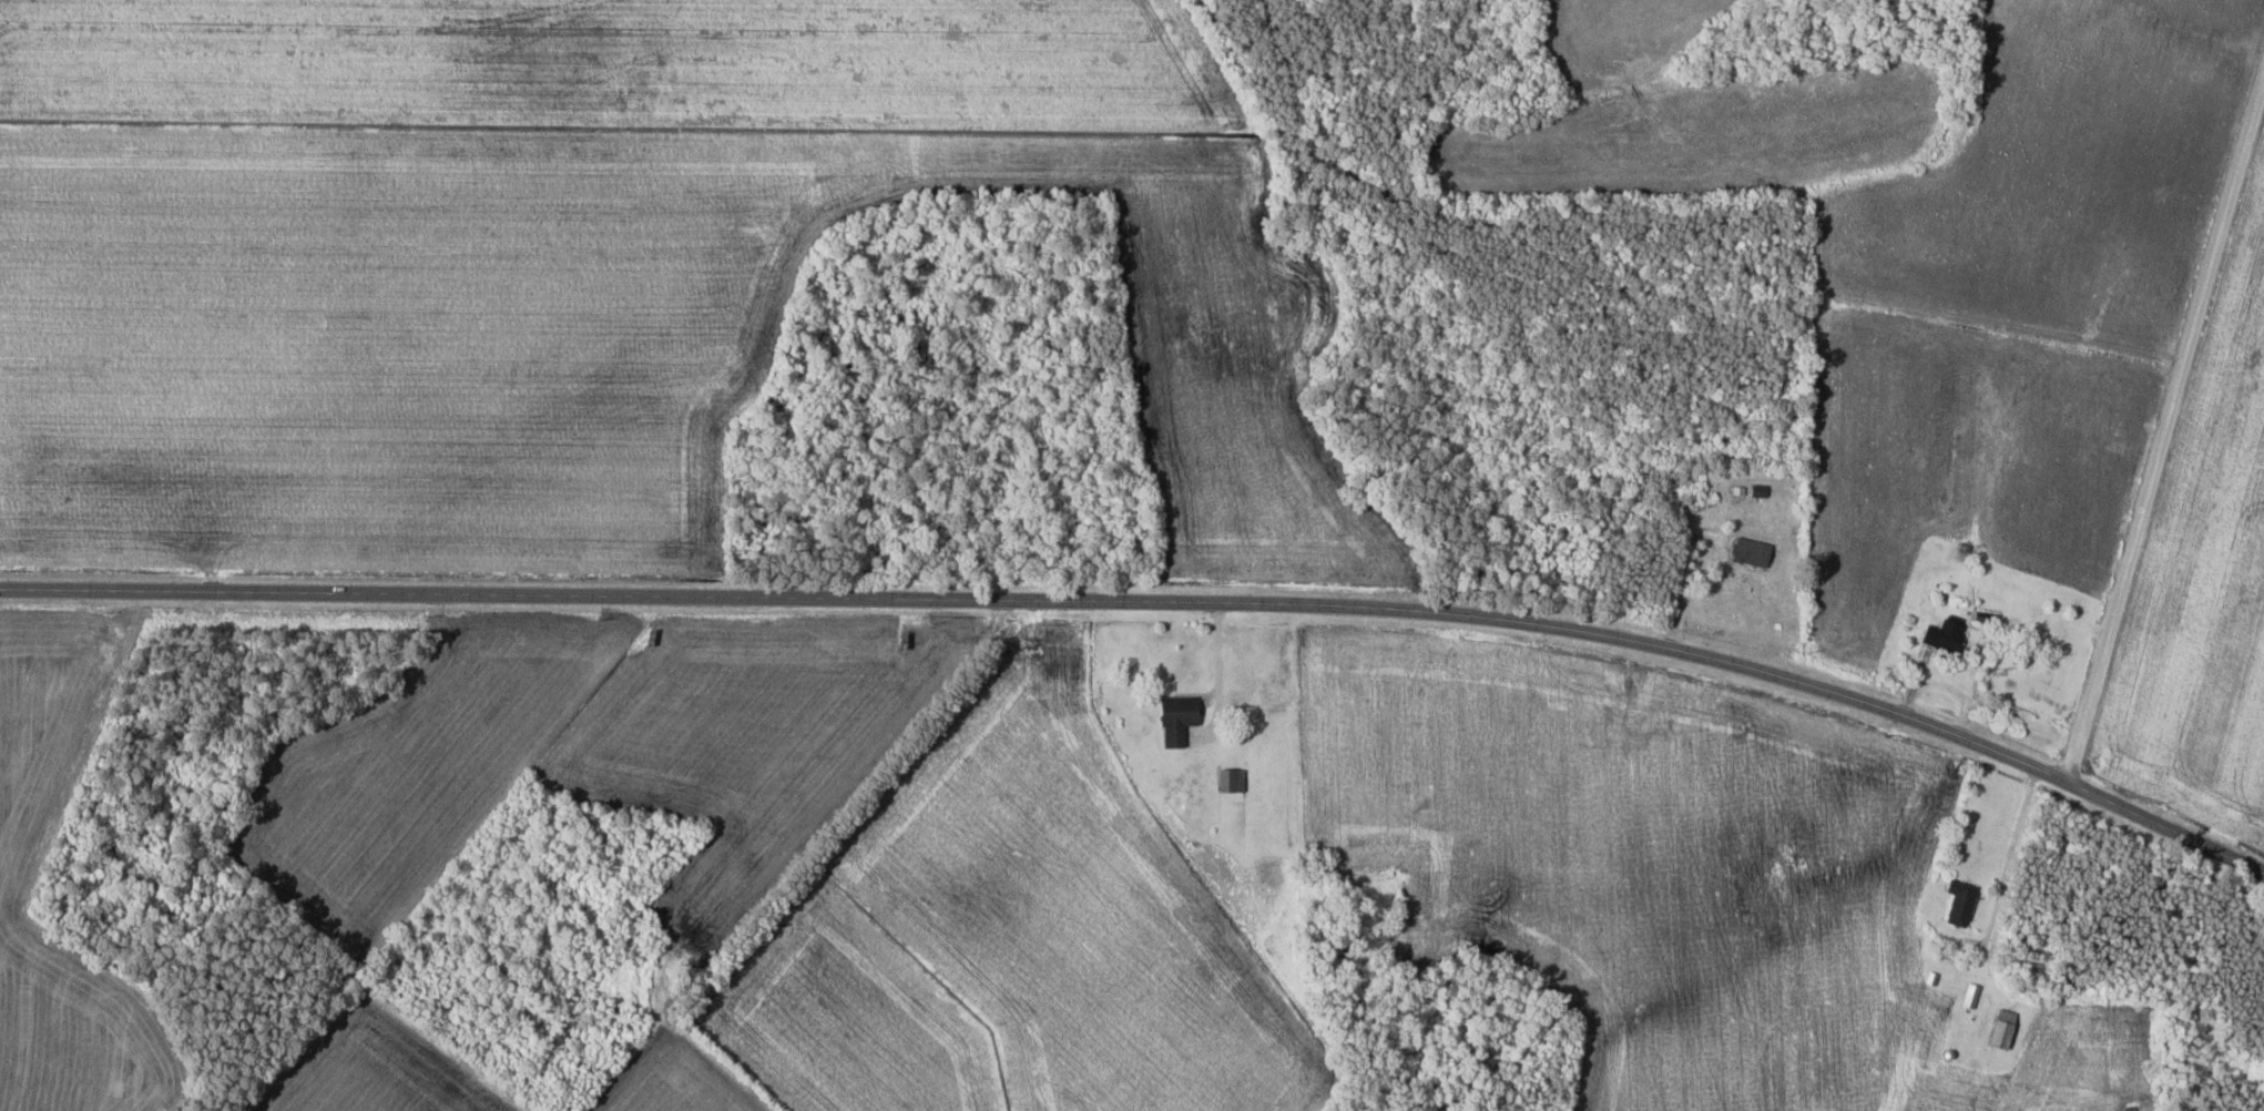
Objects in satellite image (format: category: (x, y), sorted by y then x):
road: (2162, 427)
road: (1154, 599)

